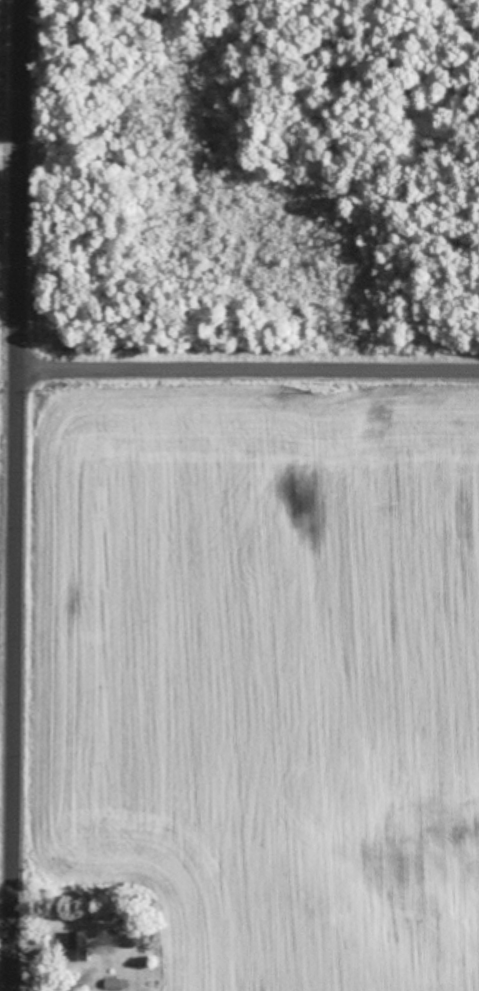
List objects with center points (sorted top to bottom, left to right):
road: (255, 373)
road: (32, 495)
building: (83, 945)

